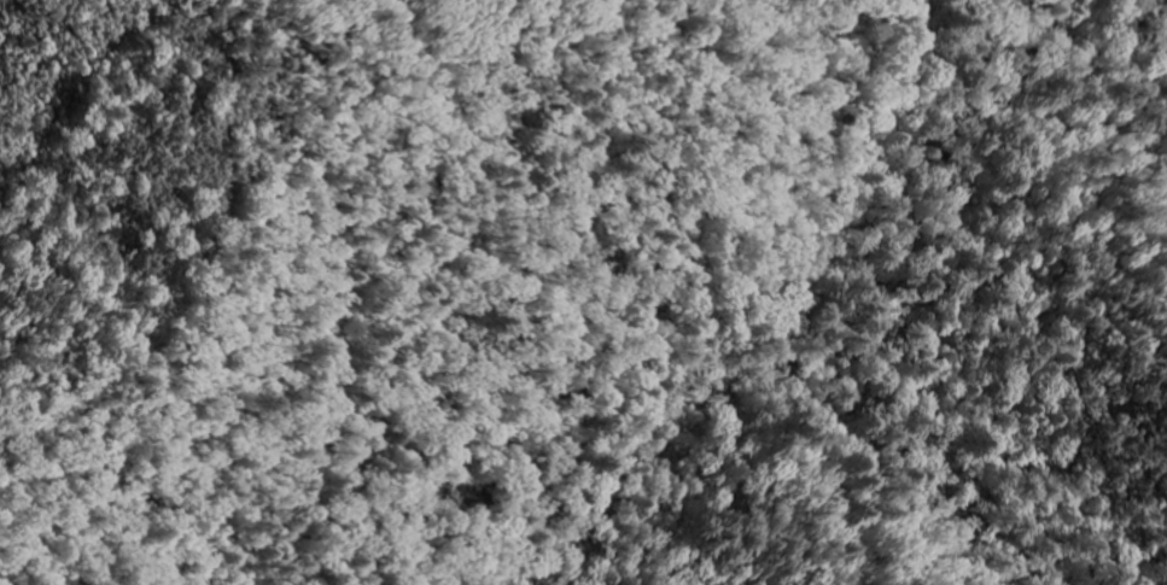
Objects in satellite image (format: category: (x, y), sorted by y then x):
road: (197, 270)

